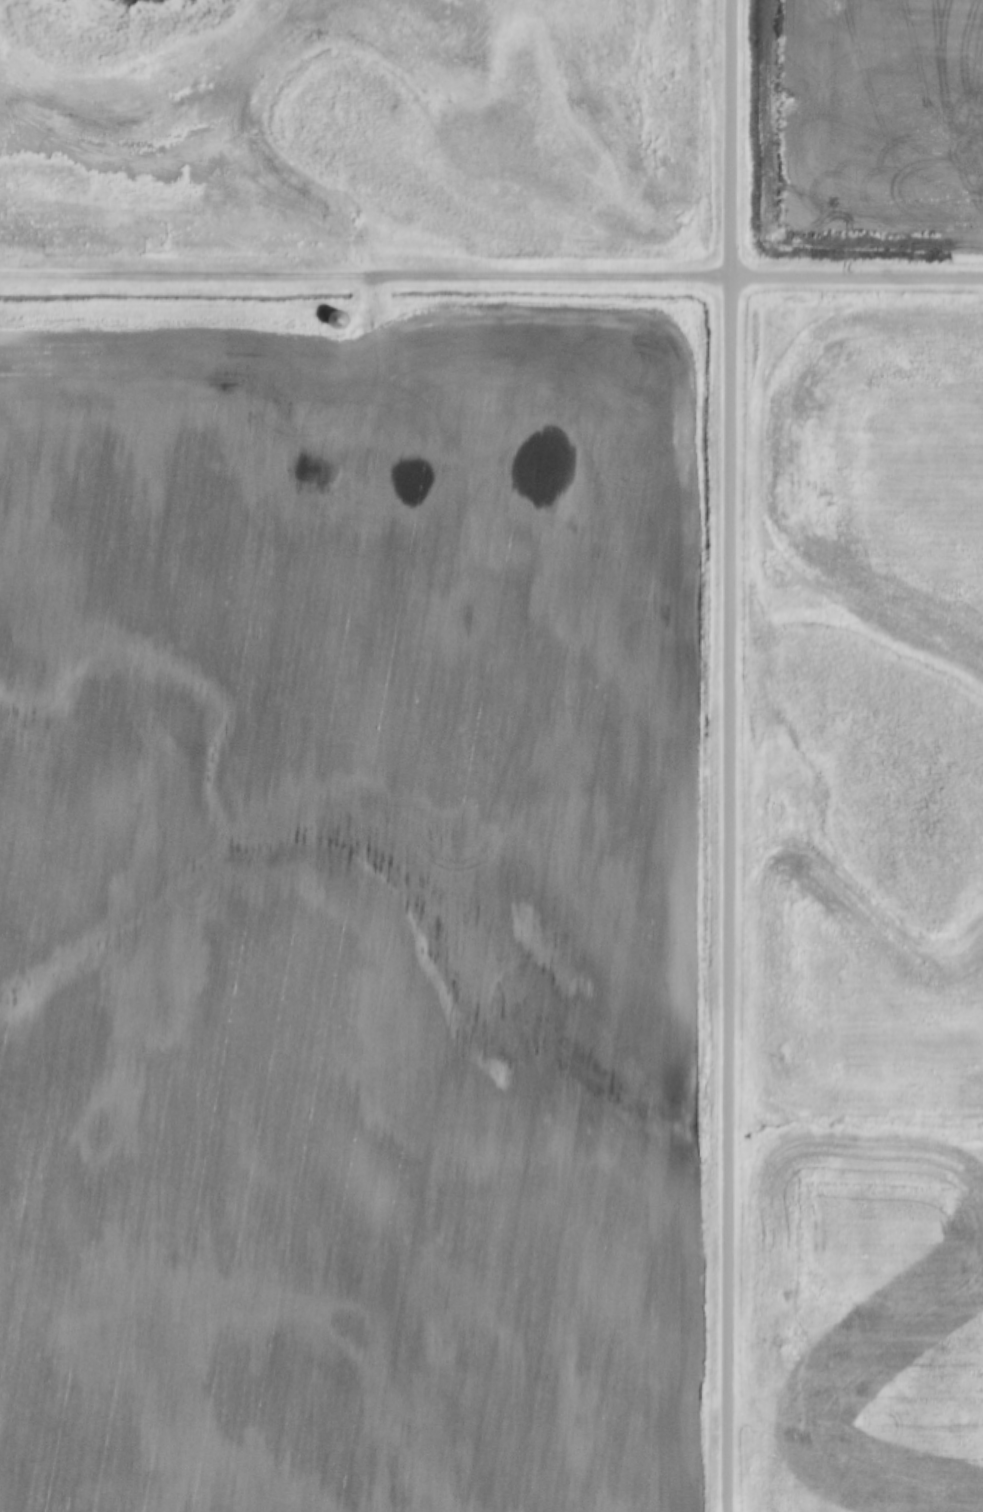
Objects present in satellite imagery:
road: (363, 272)
road: (854, 273)
building: (343, 319)
road: (726, 756)

